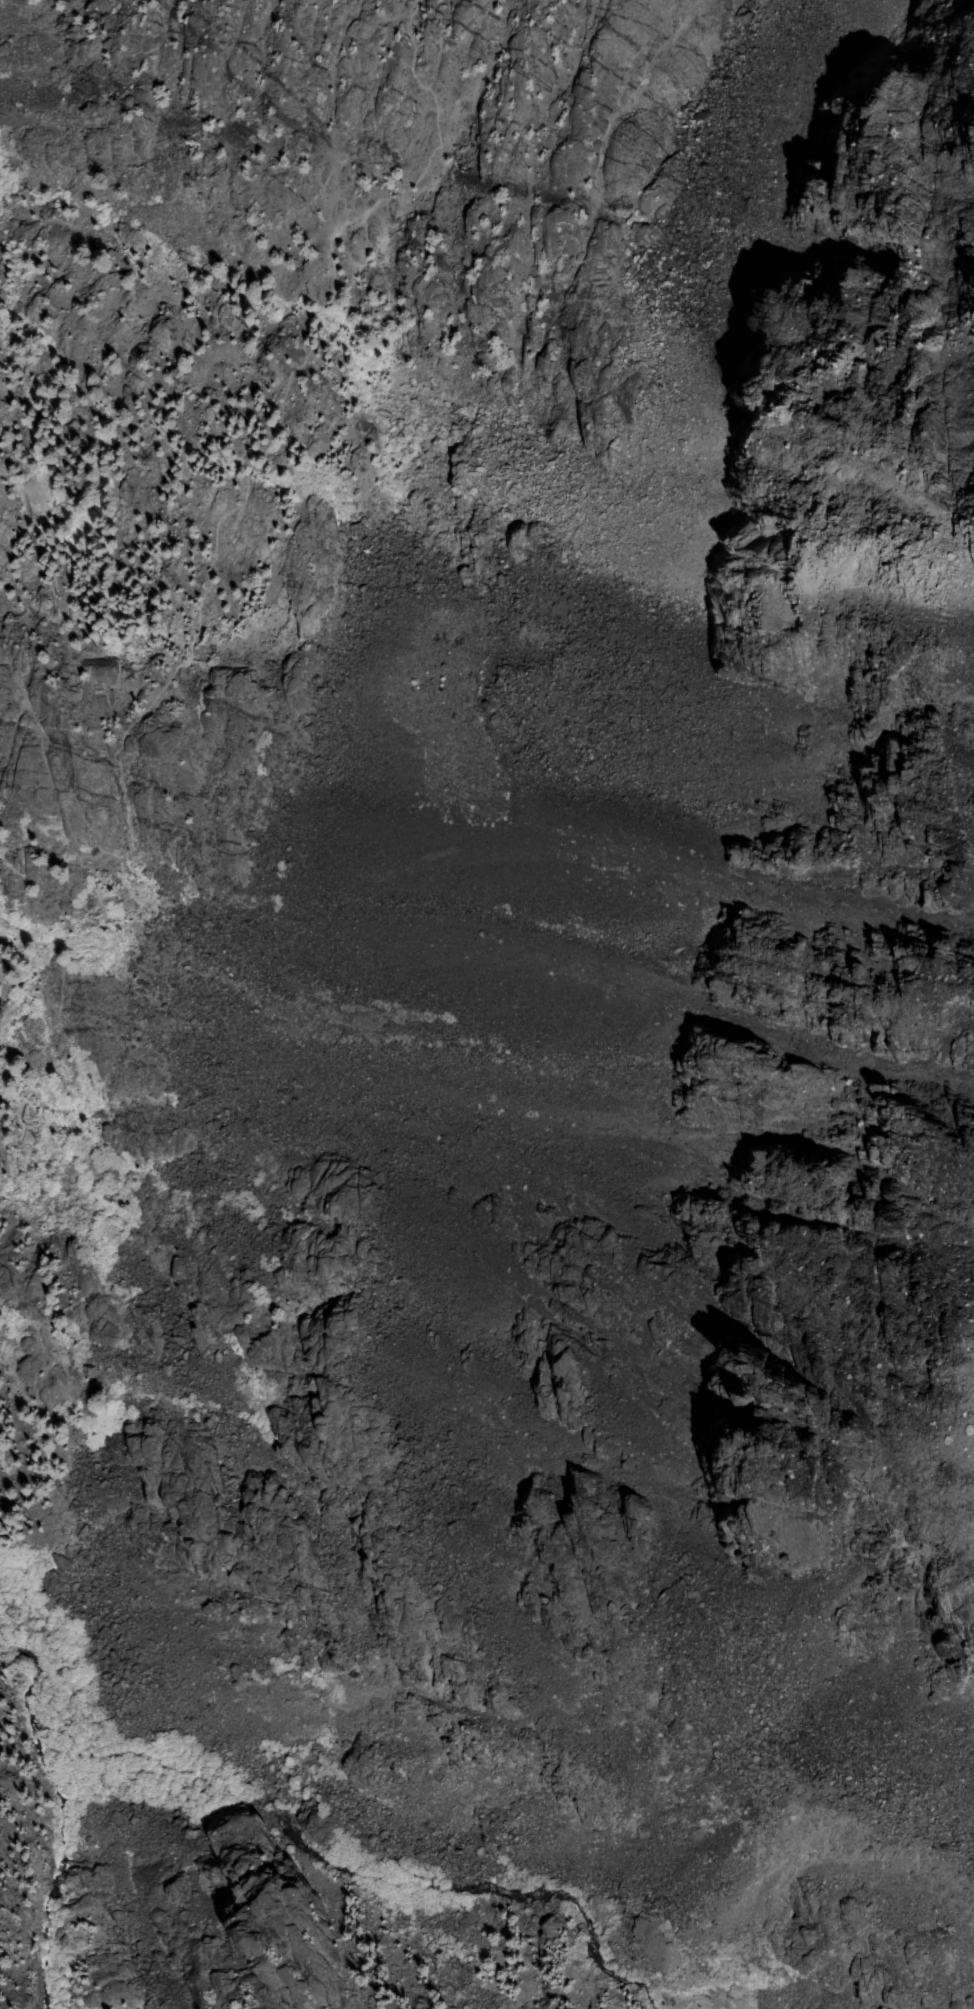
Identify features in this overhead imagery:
road: (209, 565)

